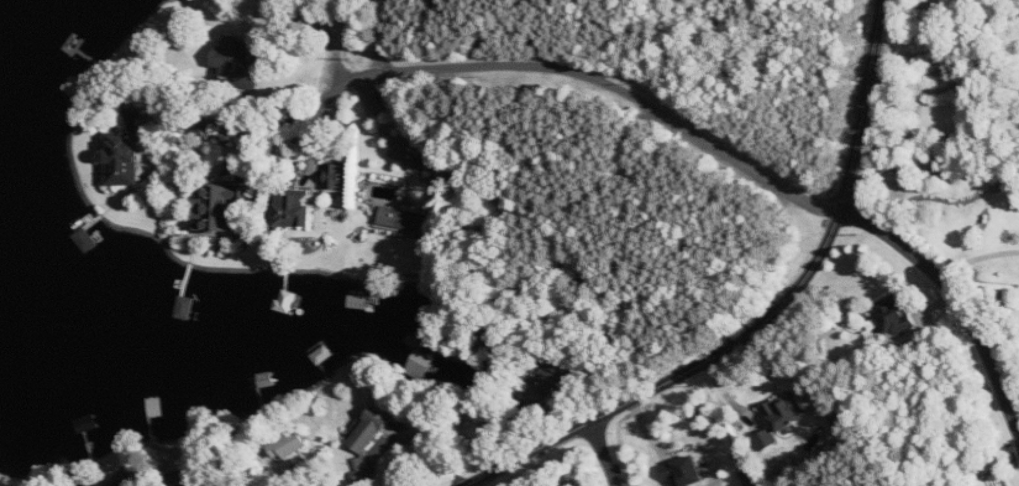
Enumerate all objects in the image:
road: (379, 35)
building: (232, 60)
road: (532, 65)
road: (948, 86)
building: (126, 152)
building: (336, 176)
building: (221, 205)
building: (297, 207)
building: (405, 219)
road: (975, 258)
road: (813, 266)
road: (956, 300)
building: (894, 318)
building: (323, 355)
building: (419, 364)
building: (786, 412)
building: (370, 430)
road: (411, 437)
building: (767, 439)
building: (288, 445)
road: (527, 454)
road: (603, 454)
building: (685, 472)
building: (125, 482)
road: (208, 485)

